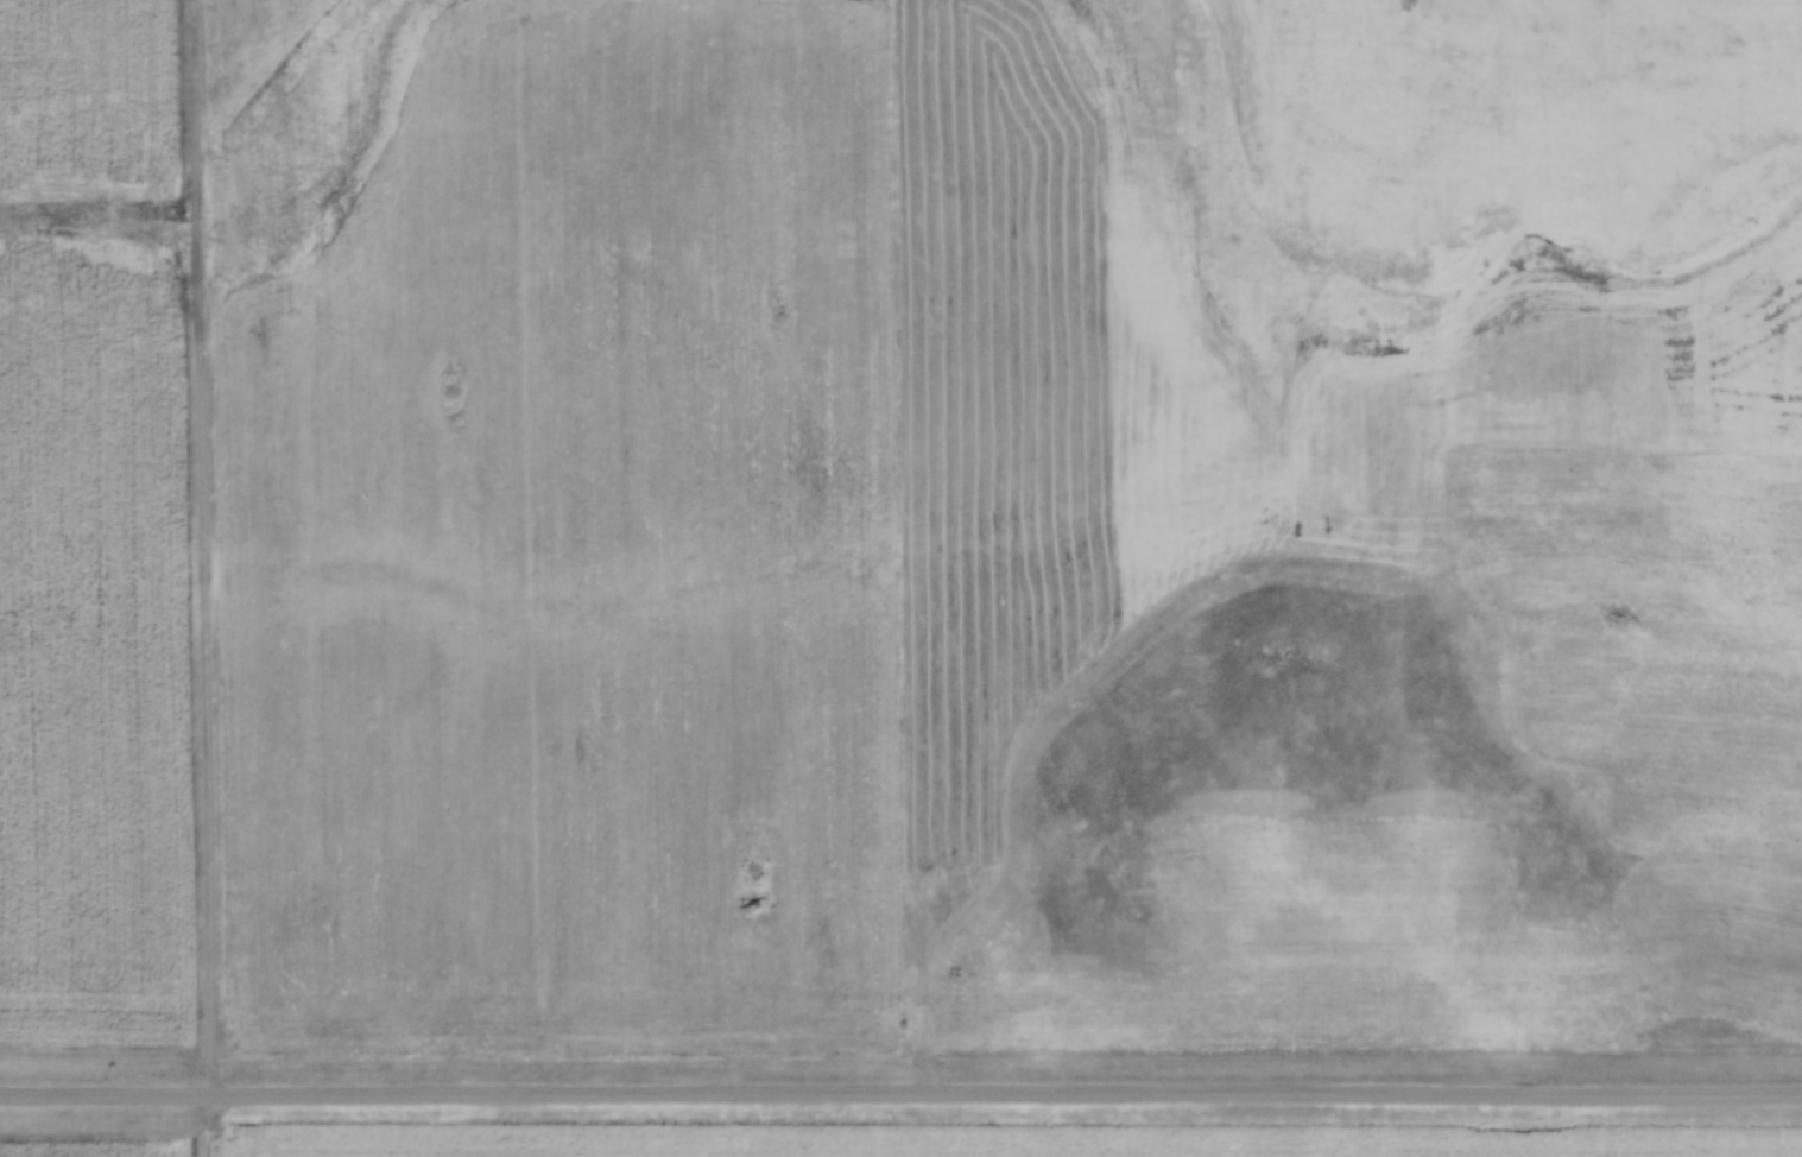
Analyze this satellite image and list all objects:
road: (1665, 358)
road: (1658, 443)
road: (203, 578)
road: (900, 1093)

